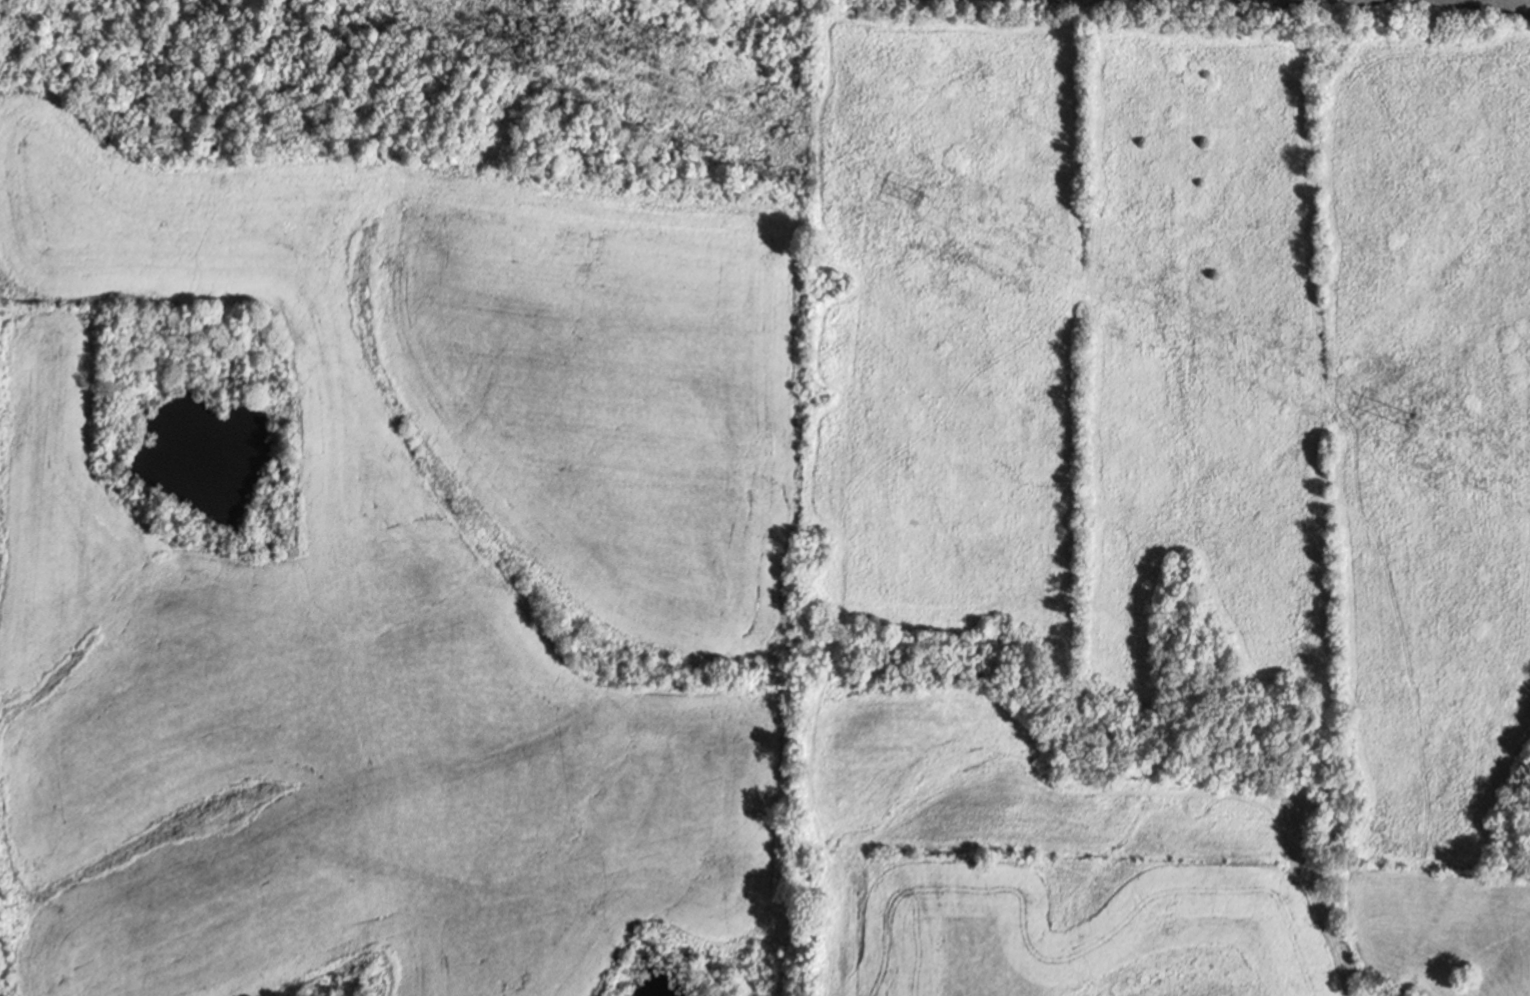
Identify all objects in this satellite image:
power tower: (560, 39)
power tower: (918, 197)
power tower: (1418, 421)

